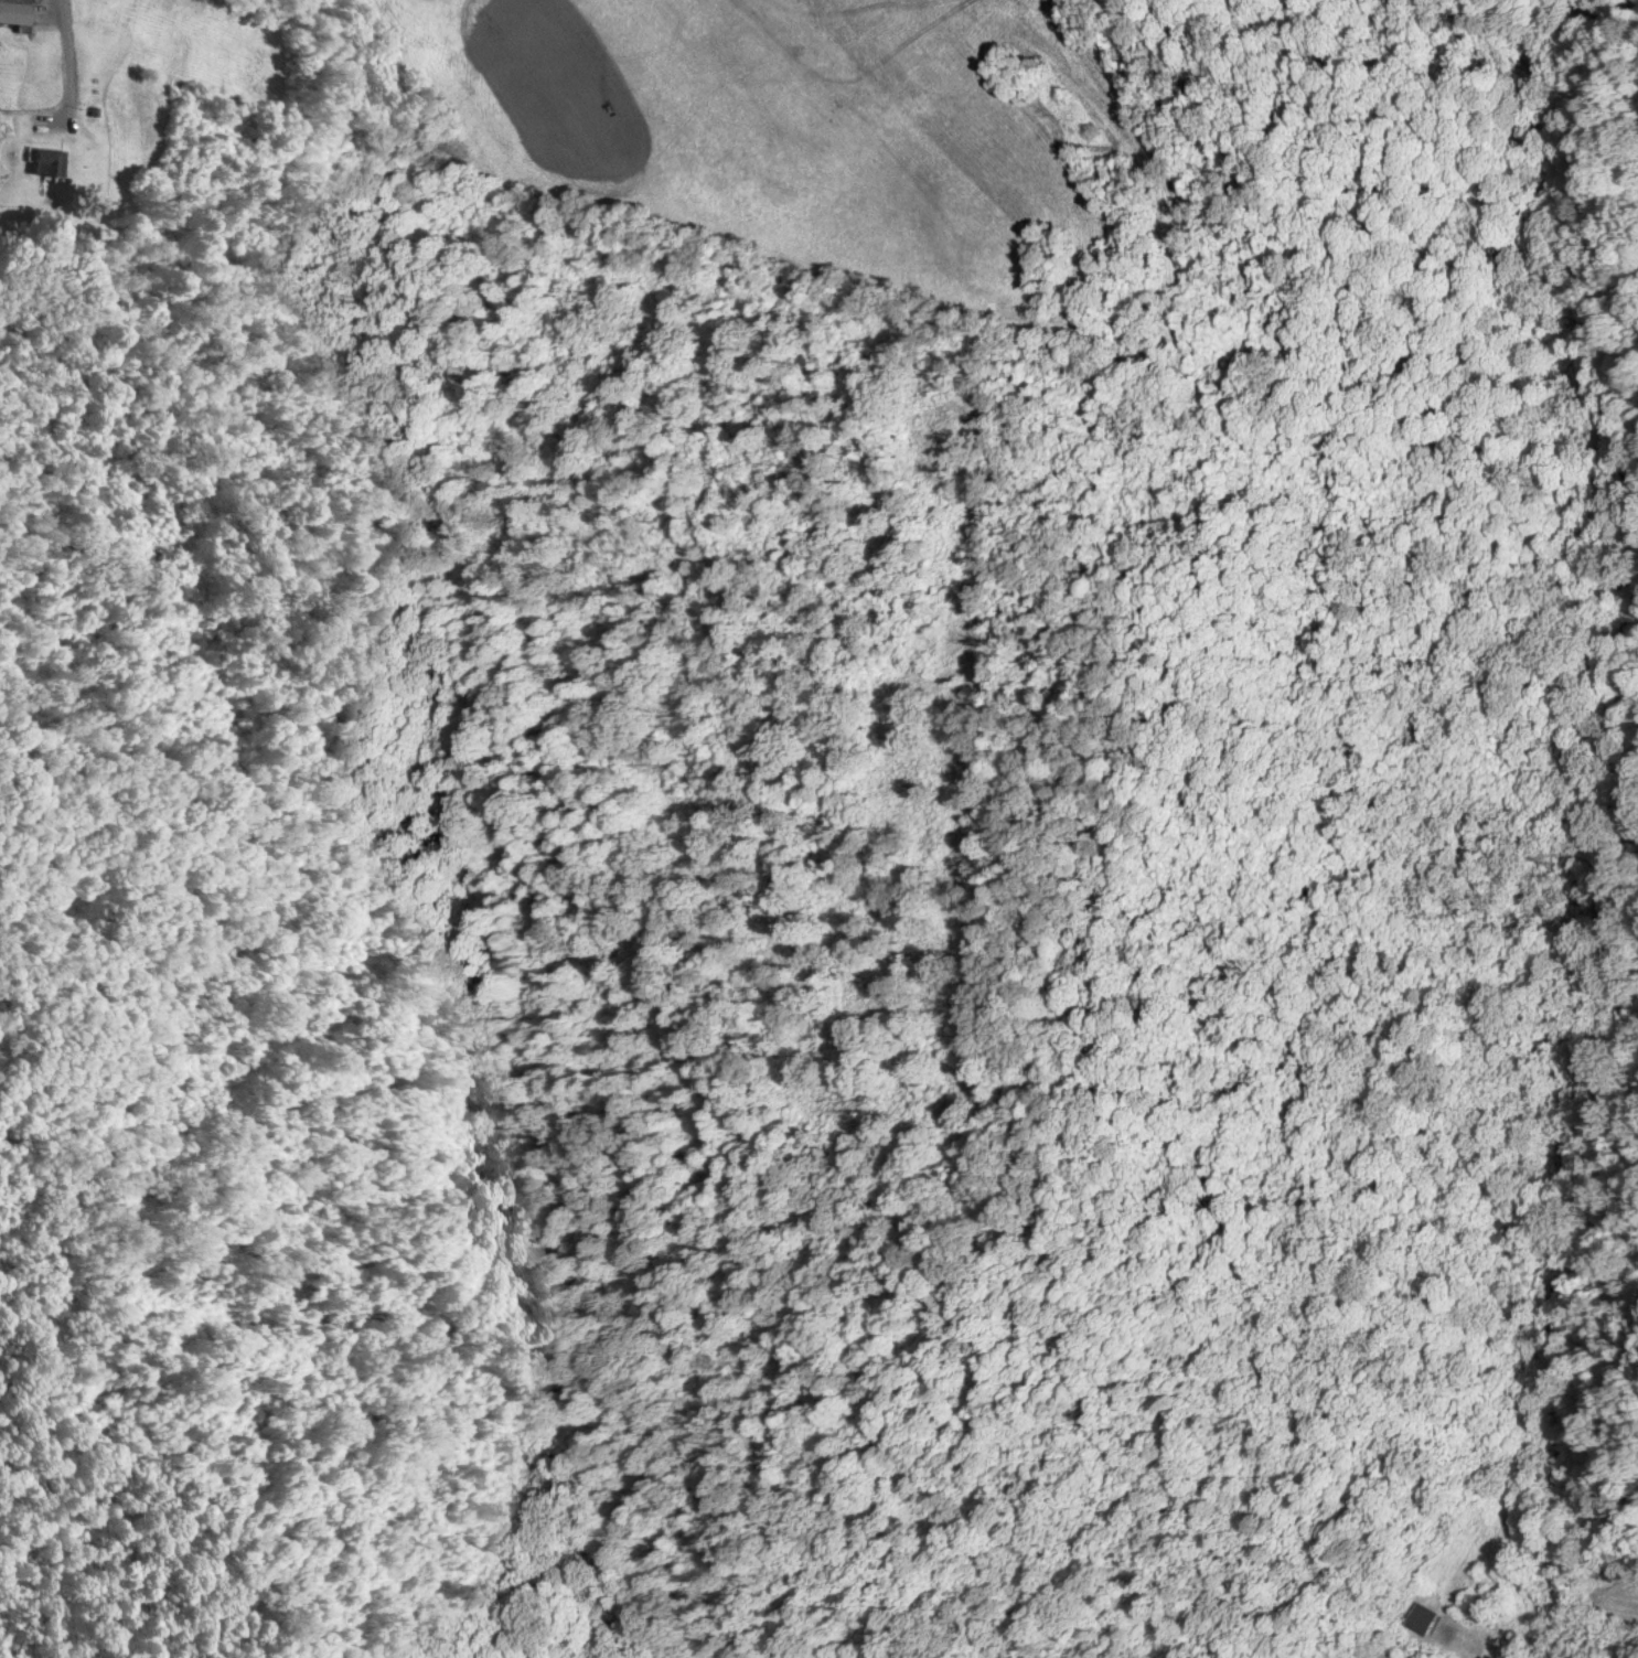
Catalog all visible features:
building: (14, 11)
road: (66, 43)
building: (46, 160)
road: (1482, 1608)
building: (1423, 1617)

